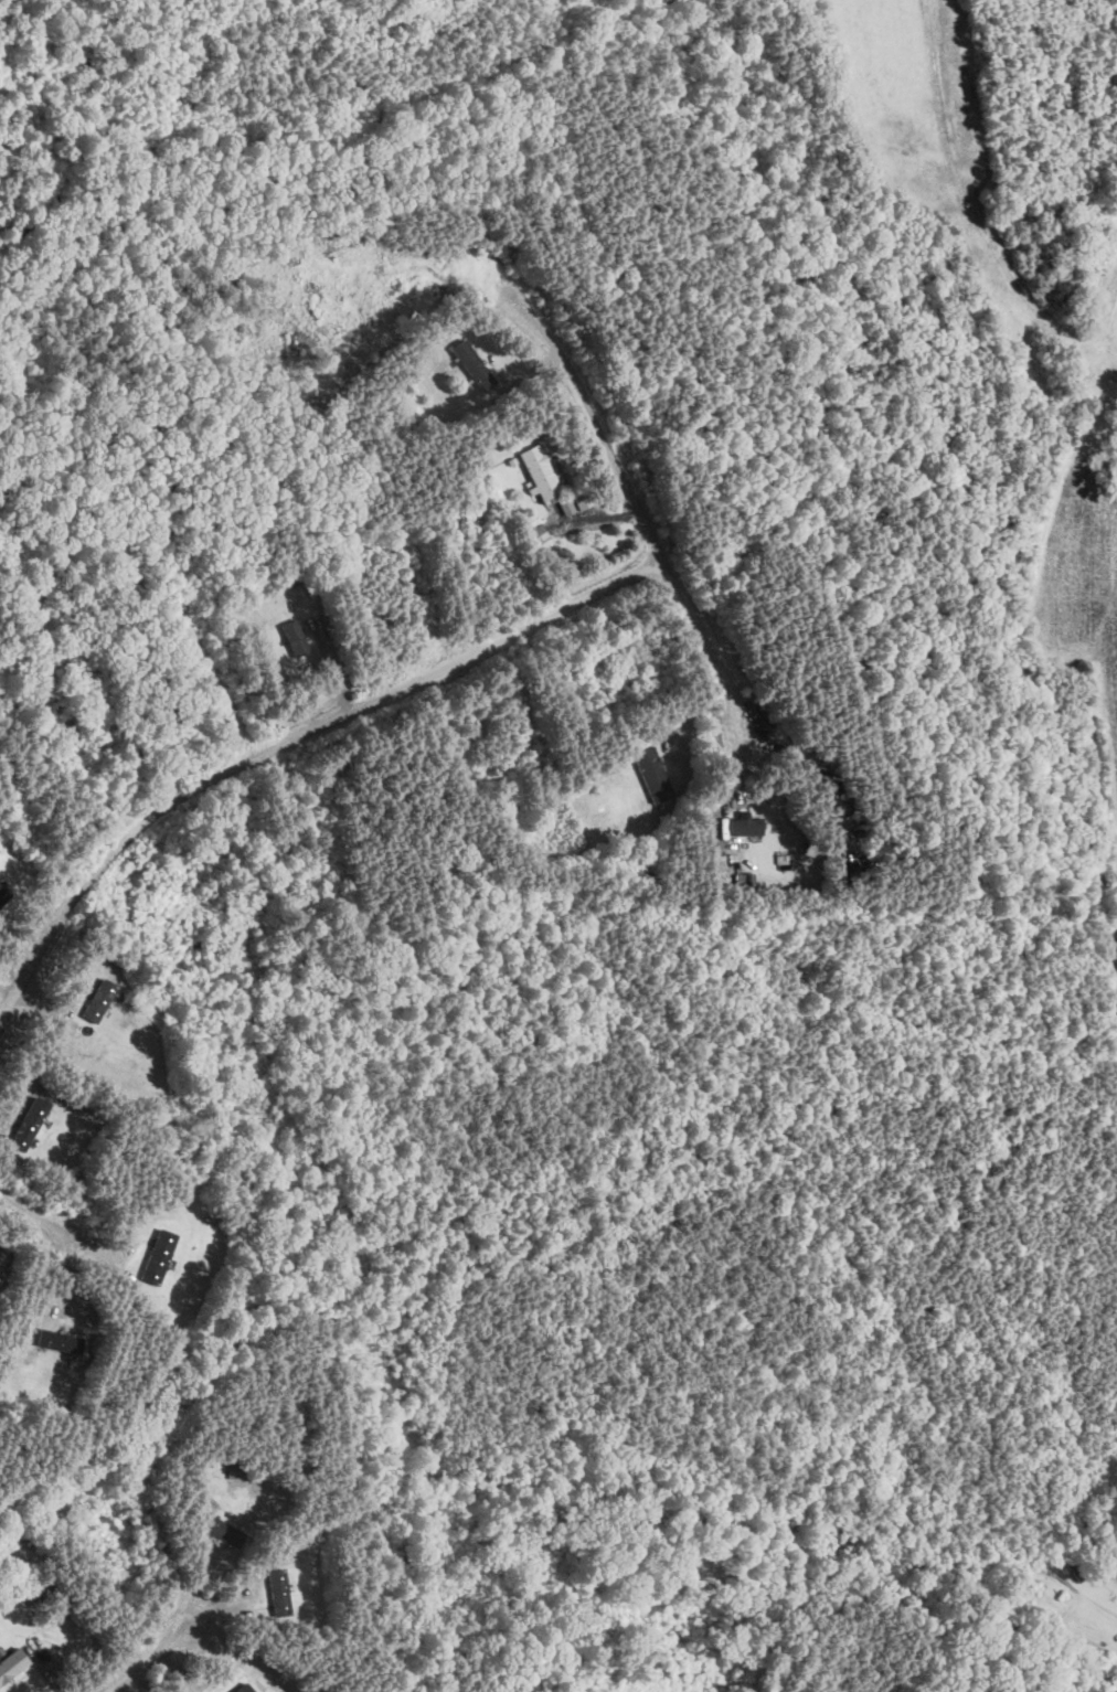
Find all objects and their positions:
road: (975, 209)
building: (474, 365)
road: (535, 369)
road: (1111, 458)
building: (541, 472)
road: (635, 501)
road: (602, 518)
building: (538, 536)
building: (296, 638)
road: (332, 669)
road: (689, 711)
road: (289, 743)
road: (733, 770)
building: (653, 776)
road: (1095, 791)
building: (746, 828)
building: (3, 896)
road: (18, 944)
road: (7, 994)
building: (99, 1002)
road: (49, 1015)
building: (29, 1125)
road: (33, 1214)
road: (105, 1255)
building: (159, 1257)
road: (63, 1277)
building: (60, 1342)
building: (1097, 1517)
building: (225, 1534)
building: (1072, 1567)
road: (198, 1589)
building: (279, 1594)
road: (221, 1610)
road: (155, 1660)
building: (12, 1667)
road: (44, 1670)
road: (173, 1674)
building: (244, 1689)

